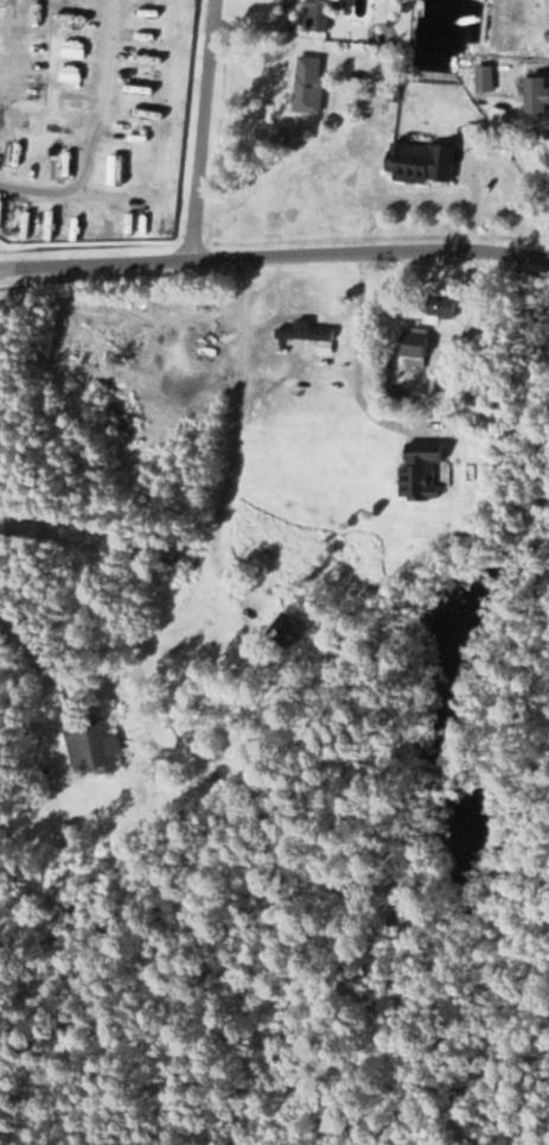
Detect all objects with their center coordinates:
building: (317, 15)
road: (110, 64)
building: (306, 84)
building: (534, 96)
building: (72, 101)
road: (202, 129)
building: (15, 158)
building: (43, 159)
building: (417, 163)
building: (114, 166)
road: (57, 198)
building: (47, 227)
road: (274, 258)
building: (440, 306)
building: (302, 334)
building: (411, 348)
building: (415, 476)
building: (282, 631)
building: (89, 746)

